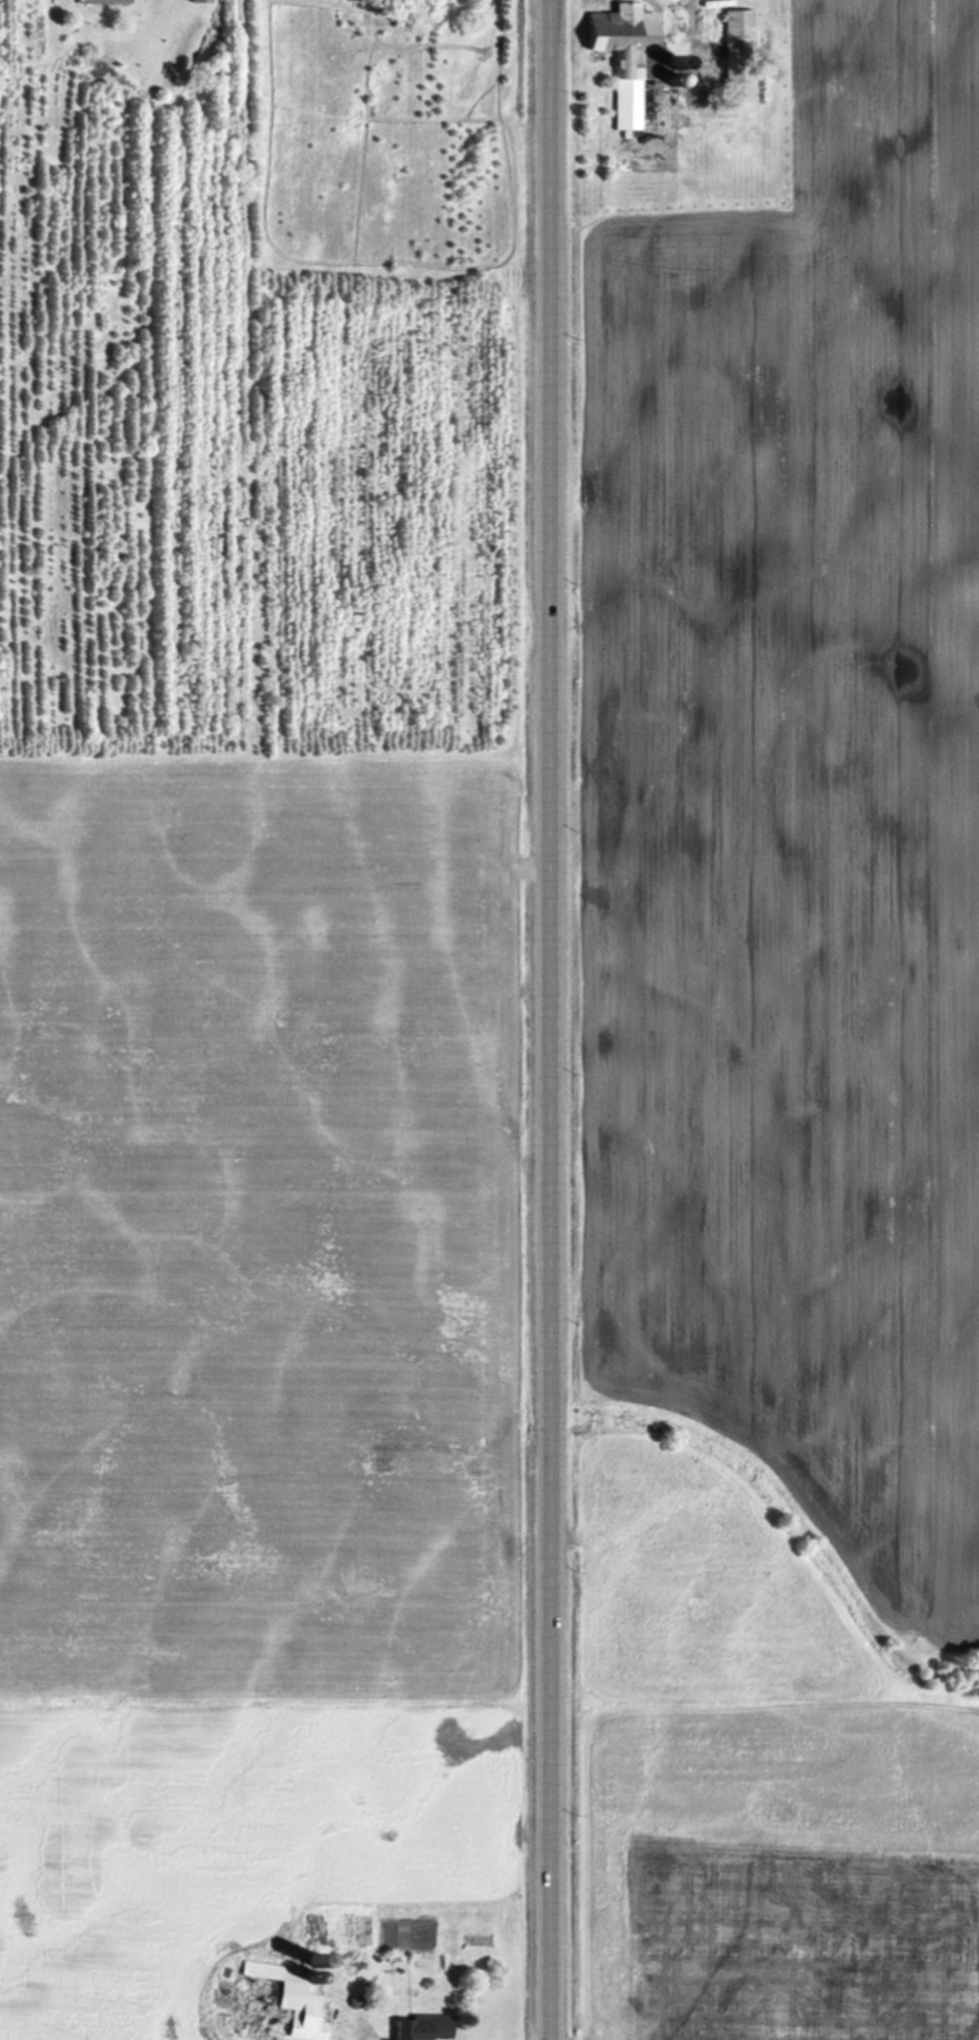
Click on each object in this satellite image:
building: (105, 2)
building: (204, 2)
road: (691, 12)
building: (632, 58)
building: (742, 58)
road: (550, 1019)
building: (418, 2028)

